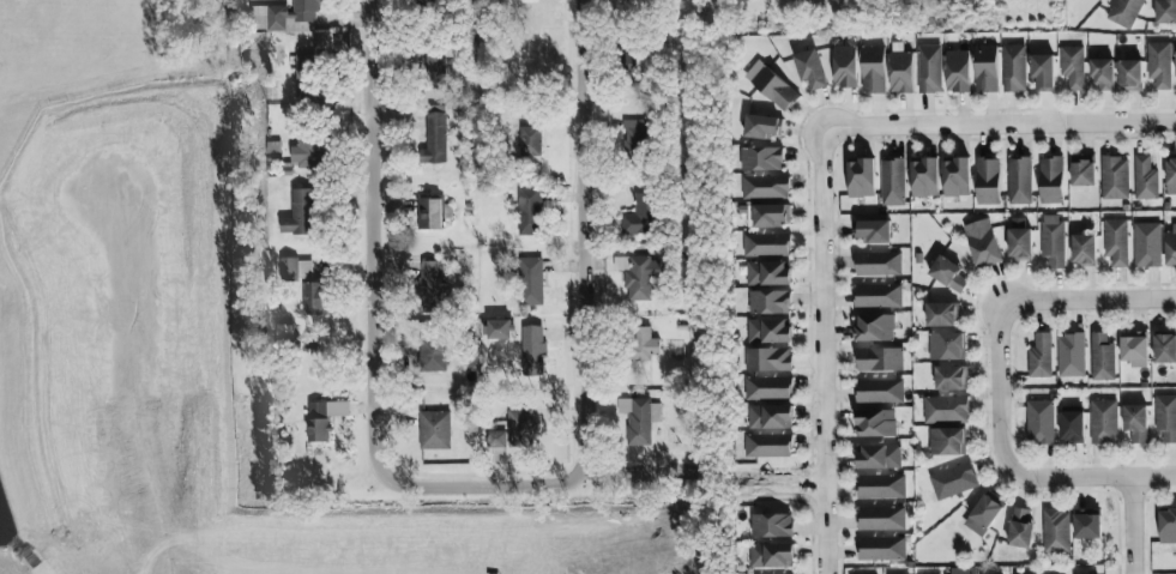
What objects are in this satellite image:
building: (432, 2)
building: (1165, 11)
building: (1126, 12)
building: (284, 17)
building: (1159, 65)
building: (845, 66)
building: (1073, 67)
building: (812, 68)
building: (929, 68)
building: (987, 68)
building: (1014, 68)
building: (874, 70)
building: (958, 71)
building: (435, 72)
building: (901, 72)
building: (1043, 72)
building: (1103, 73)
building: (307, 75)
building: (1130, 75)
building: (774, 89)
road: (1001, 125)
building: (764, 127)
building: (435, 134)
building: (634, 137)
building: (530, 141)
building: (309, 151)
building: (761, 158)
building: (1082, 173)
building: (1170, 176)
building: (924, 177)
building: (957, 177)
building: (1115, 177)
building: (862, 179)
building: (1145, 179)
building: (988, 180)
building: (1020, 180)
building: (1051, 180)
building: (893, 181)
building: (765, 187)
building: (530, 211)
building: (300, 213)
building: (768, 215)
building: (641, 216)
building: (872, 230)
road: (591, 235)
building: (1019, 238)
road: (380, 240)
building: (1115, 241)
building: (766, 243)
building: (1053, 244)
building: (1146, 244)
building: (984, 247)
building: (1169, 247)
building: (1084, 249)
building: (876, 264)
building: (297, 267)
building: (767, 272)
building: (947, 273)
building: (638, 276)
building: (531, 280)
building: (429, 285)
building: (878, 295)
building: (313, 297)
road: (1090, 298)
building: (768, 301)
building: (941, 314)
building: (874, 327)
building: (500, 328)
building: (767, 330)
building: (643, 344)
building: (946, 345)
building: (1134, 346)
building: (1165, 348)
building: (532, 350)
road: (822, 351)
building: (432, 354)
building: (1071, 355)
building: (1039, 356)
building: (1102, 356)
building: (879, 358)
building: (767, 359)
building: (951, 377)
building: (768, 387)
building: (879, 389)
road: (1006, 389)
building: (945, 409)
building: (768, 416)
building: (322, 417)
building: (1165, 417)
building: (639, 418)
building: (1103, 421)
building: (875, 422)
building: (1039, 422)
building: (1135, 423)
building: (1071, 424)
building: (520, 428)
building: (434, 429)
building: (947, 441)
building: (767, 445)
building: (878, 455)
road: (1098, 475)
building: (953, 481)
road: (493, 483)
road: (778, 484)
building: (880, 485)
building: (983, 514)
building: (881, 518)
road: (1146, 520)
building: (1087, 524)
road: (1130, 524)
building: (772, 525)
building: (1166, 526)
building: (1020, 527)
building: (1055, 530)
building: (881, 548)
building: (771, 555)
building: (961, 570)

